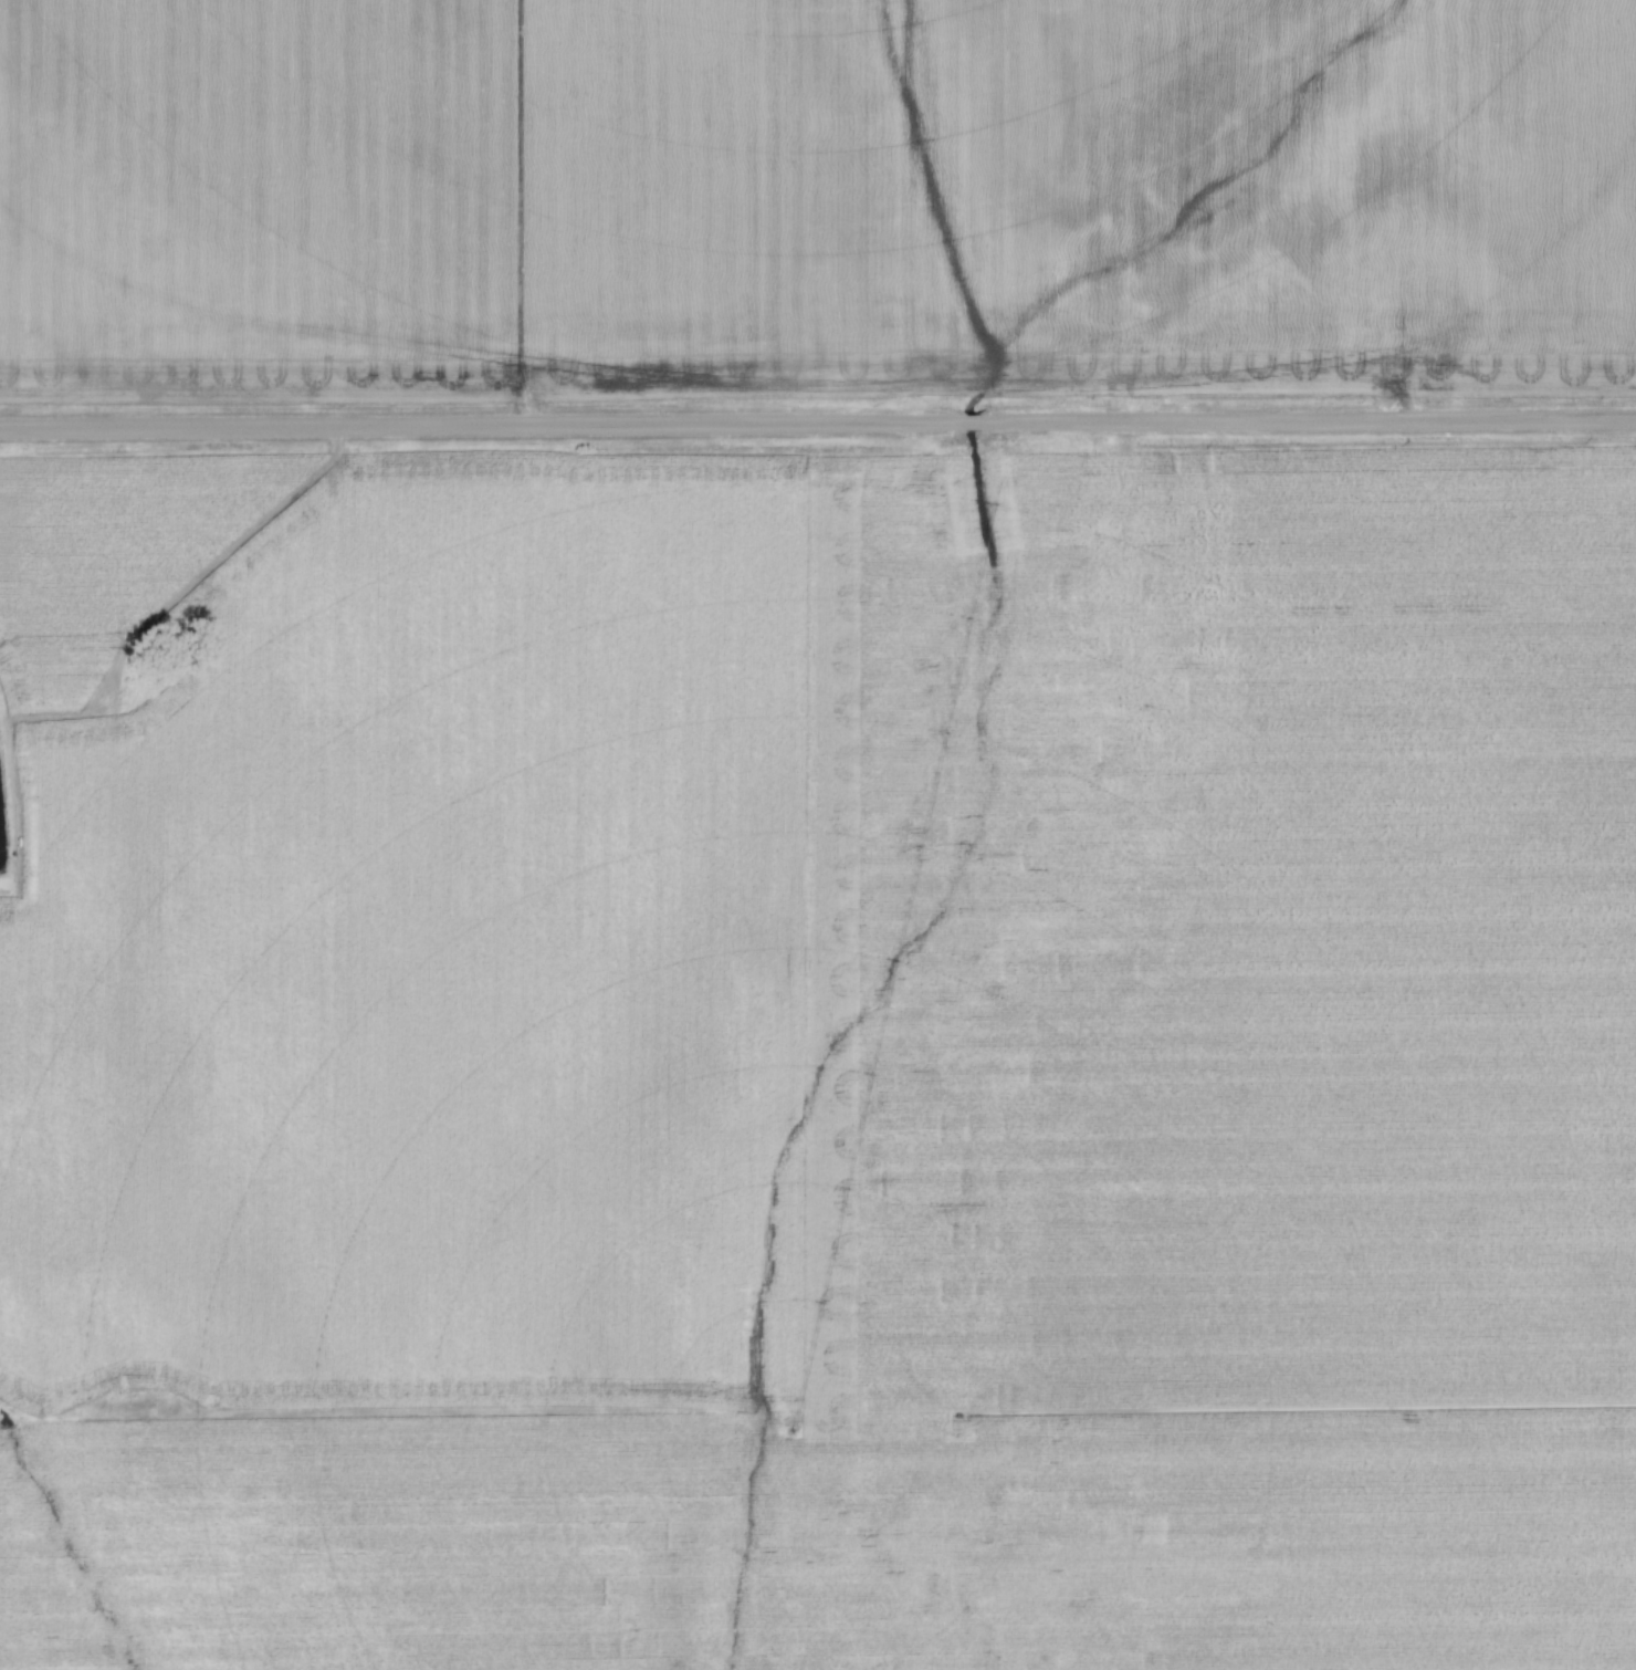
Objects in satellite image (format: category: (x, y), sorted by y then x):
road: (817, 430)

